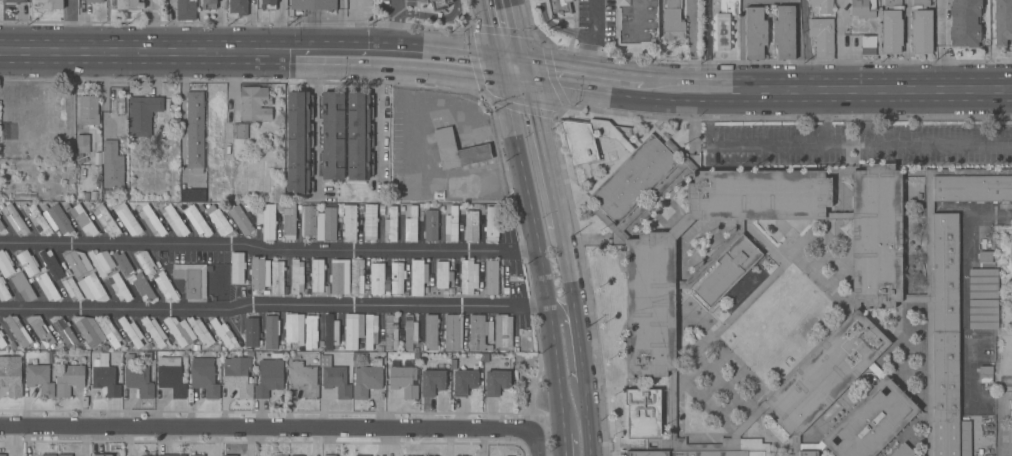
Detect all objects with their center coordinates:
building: (15, 1)
building: (94, 1)
building: (49, 4)
building: (129, 4)
building: (209, 4)
building: (267, 4)
building: (313, 4)
building: (439, 4)
building: (823, 6)
building: (238, 7)
building: (556, 7)
building: (863, 8)
building: (185, 9)
building: (672, 20)
building: (636, 22)
building: (725, 22)
building: (1003, 22)
building: (964, 23)
road: (71, 26)
road: (146, 26)
road: (221, 26)
road: (340, 27)
road: (394, 28)
building: (891, 28)
building: (921, 28)
road: (489, 32)
building: (754, 33)
building: (784, 33)
road: (517, 34)
building: (822, 37)
road: (592, 39)
road: (706, 45)
road: (806, 45)
road: (840, 45)
building: (868, 45)
road: (939, 45)
road: (148, 52)
road: (396, 56)
traffic signals: (496, 65)
road: (510, 66)
traffic signals: (525, 68)
road: (582, 77)
road: (825, 90)
building: (255, 104)
building: (120, 105)
building: (89, 109)
road: (181, 113)
road: (378, 113)
building: (142, 114)
road: (826, 118)
road: (315, 120)
building: (240, 131)
building: (195, 132)
building: (359, 135)
building: (331, 136)
building: (299, 142)
building: (82, 144)
road: (939, 146)
building: (446, 147)
road: (786, 147)
road: (541, 148)
building: (112, 165)
building: (193, 195)
building: (209, 196)
building: (482, 207)
building: (441, 208)
building: (127, 219)
building: (241, 219)
building: (16, 220)
building: (39, 220)
building: (57, 220)
building: (83, 220)
building: (106, 220)
building: (152, 220)
building: (198, 220)
building: (218, 220)
building: (288, 220)
building: (174, 221)
building: (267, 221)
building: (370, 221)
building: (482, 221)
building: (319, 222)
building: (350, 223)
building: (452, 223)
building: (492, 223)
building: (391, 224)
building: (1, 225)
building: (411, 225)
building: (430, 225)
building: (471, 226)
building: (360, 229)
road: (269, 246)
road: (537, 248)
building: (1010, 254)
building: (985, 257)
building: (145, 261)
building: (27, 262)
building: (78, 262)
building: (102, 263)
building: (122, 263)
building: (6, 264)
building: (52, 264)
building: (237, 268)
building: (259, 273)
building: (443, 274)
building: (317, 275)
building: (357, 276)
building: (468, 276)
building: (296, 277)
building: (339, 277)
building: (378, 277)
building: (418, 277)
building: (491, 277)
building: (277, 278)
building: (306, 278)
building: (397, 278)
building: (192, 279)
building: (983, 283)
building: (658, 285)
building: (23, 286)
building: (366, 286)
building: (386, 286)
building: (47, 287)
building: (119, 287)
building: (139, 287)
building: (166, 287)
building: (406, 287)
building: (92, 288)
building: (71, 289)
building: (4, 290)
building: (326, 291)
road: (273, 305)
building: (983, 314)
building: (294, 328)
road: (964, 329)
building: (89, 330)
building: (353, 330)
building: (18, 331)
building: (108, 331)
building: (131, 331)
building: (154, 331)
building: (180, 331)
building: (200, 331)
building: (370, 331)
building: (503, 331)
building: (42, 332)
building: (64, 332)
building: (223, 332)
building: (251, 332)
building: (271, 332)
building: (311, 332)
building: (333, 332)
building: (402, 332)
building: (480, 332)
building: (431, 333)
building: (453, 333)
building: (8, 336)
road: (578, 341)
building: (2, 342)
building: (983, 345)
building: (12, 346)
building: (104, 346)
building: (281, 347)
building: (287, 347)
building: (197, 348)
building: (217, 348)
building: (301, 349)
building: (380, 349)
road: (568, 350)
building: (52, 357)
building: (357, 358)
building: (985, 371)
building: (11, 375)
building: (171, 376)
building: (238, 376)
building: (270, 376)
building: (105, 377)
building: (138, 378)
building: (334, 378)
building: (39, 379)
building: (69, 379)
building: (303, 379)
building: (367, 379)
building: (205, 381)
building: (403, 382)
building: (432, 382)
building: (465, 382)
building: (496, 382)
road: (267, 429)
road: (534, 444)
road: (563, 446)
building: (902, 451)
building: (101, 454)
building: (2, 455)
building: (48, 455)
building: (64, 455)
building: (147, 455)
building: (171, 455)
building: (197, 455)
building: (230, 455)
building: (278, 455)
building: (326, 455)
building: (360, 455)
building: (408, 455)
building: (433, 455)

